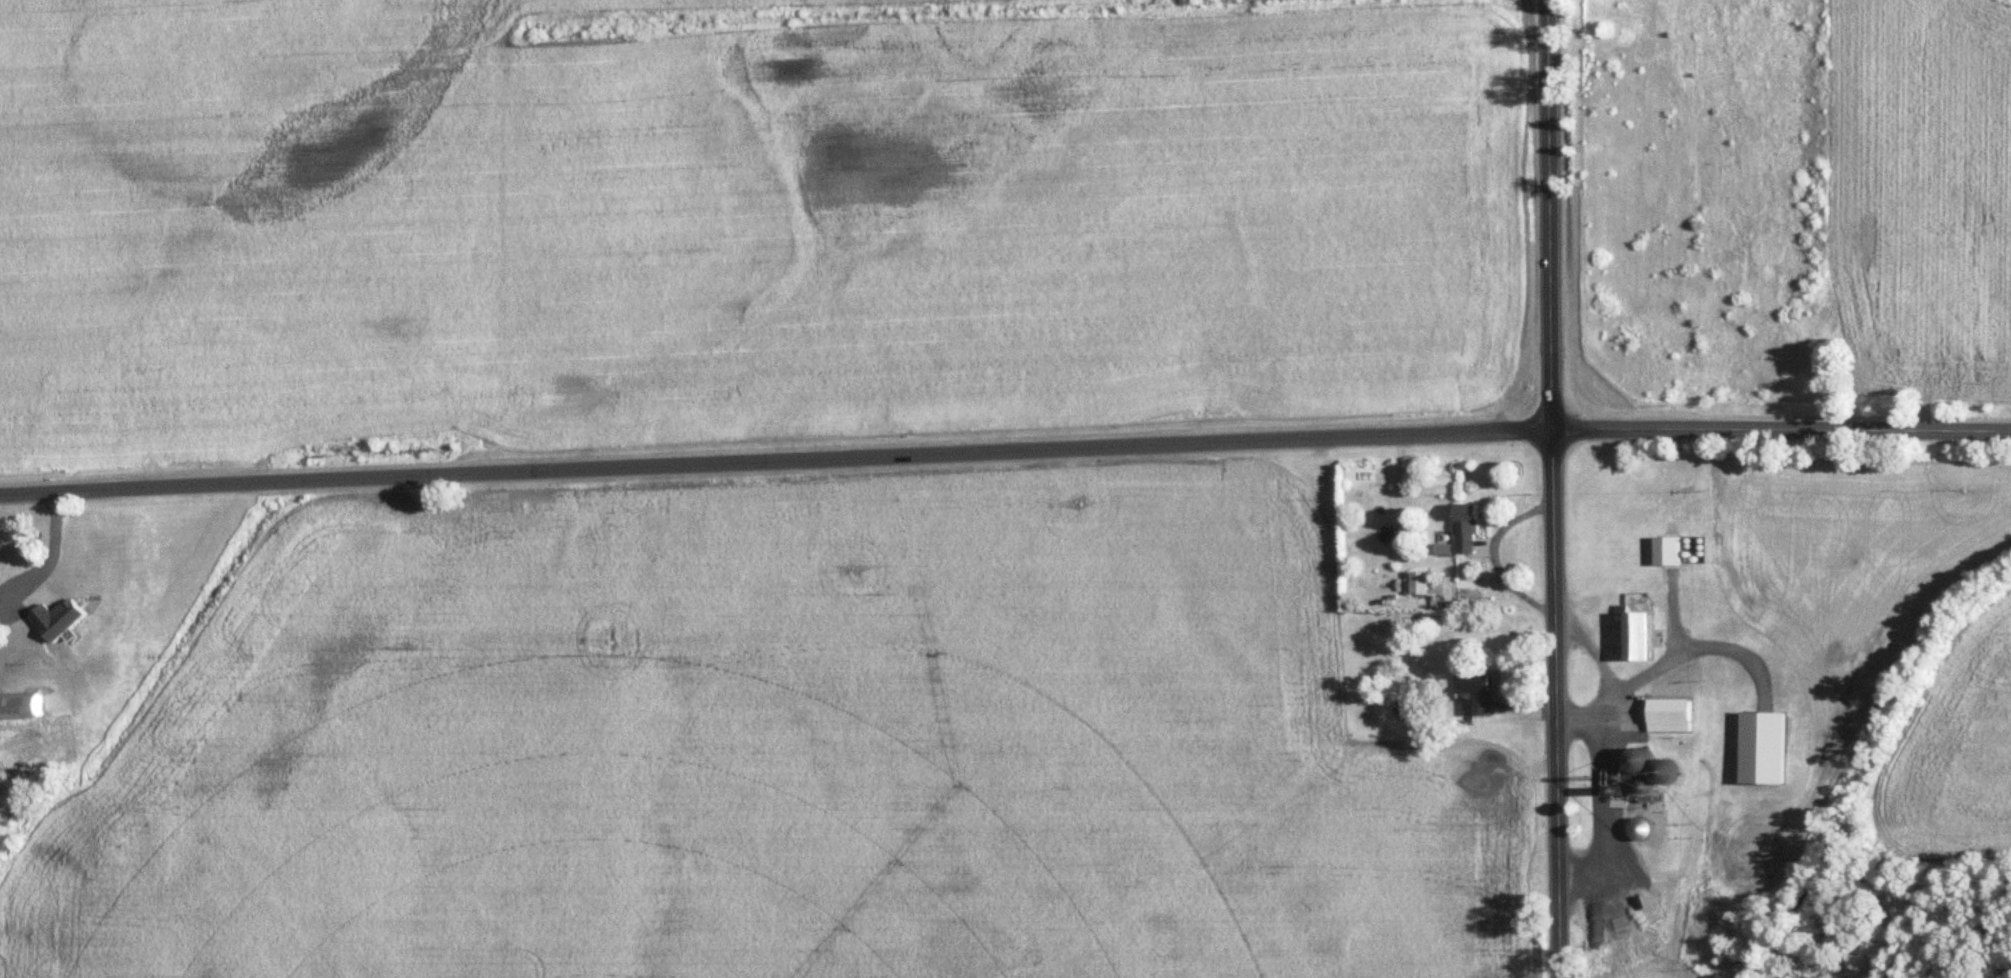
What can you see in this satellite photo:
road: (1781, 431)
road: (775, 461)
road: (1551, 489)
building: (1466, 531)
road: (52, 551)
building: (1667, 553)
building: (1420, 585)
building: (1638, 639)
building: (93, 661)
building: (1476, 696)
building: (21, 705)
building: (1670, 717)
building: (1640, 760)
building: (1666, 773)
building: (1642, 830)

